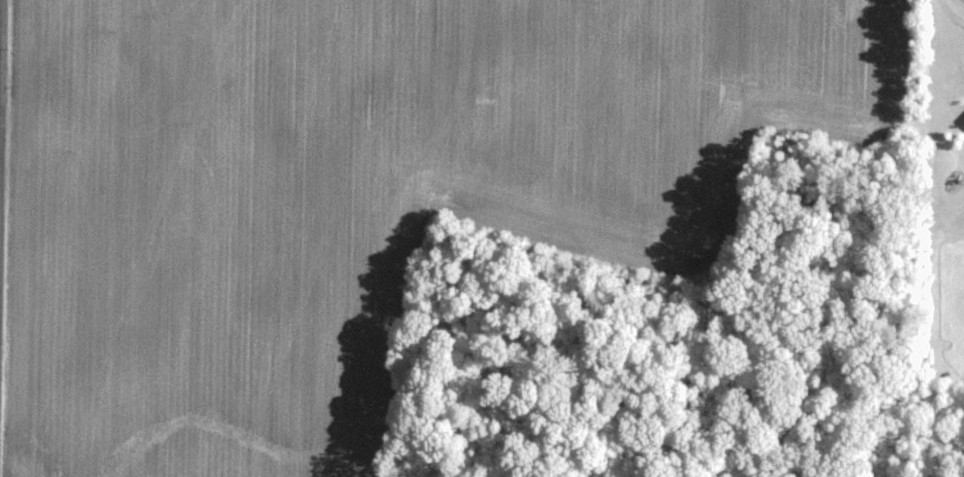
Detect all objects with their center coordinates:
road: (954, 10)

